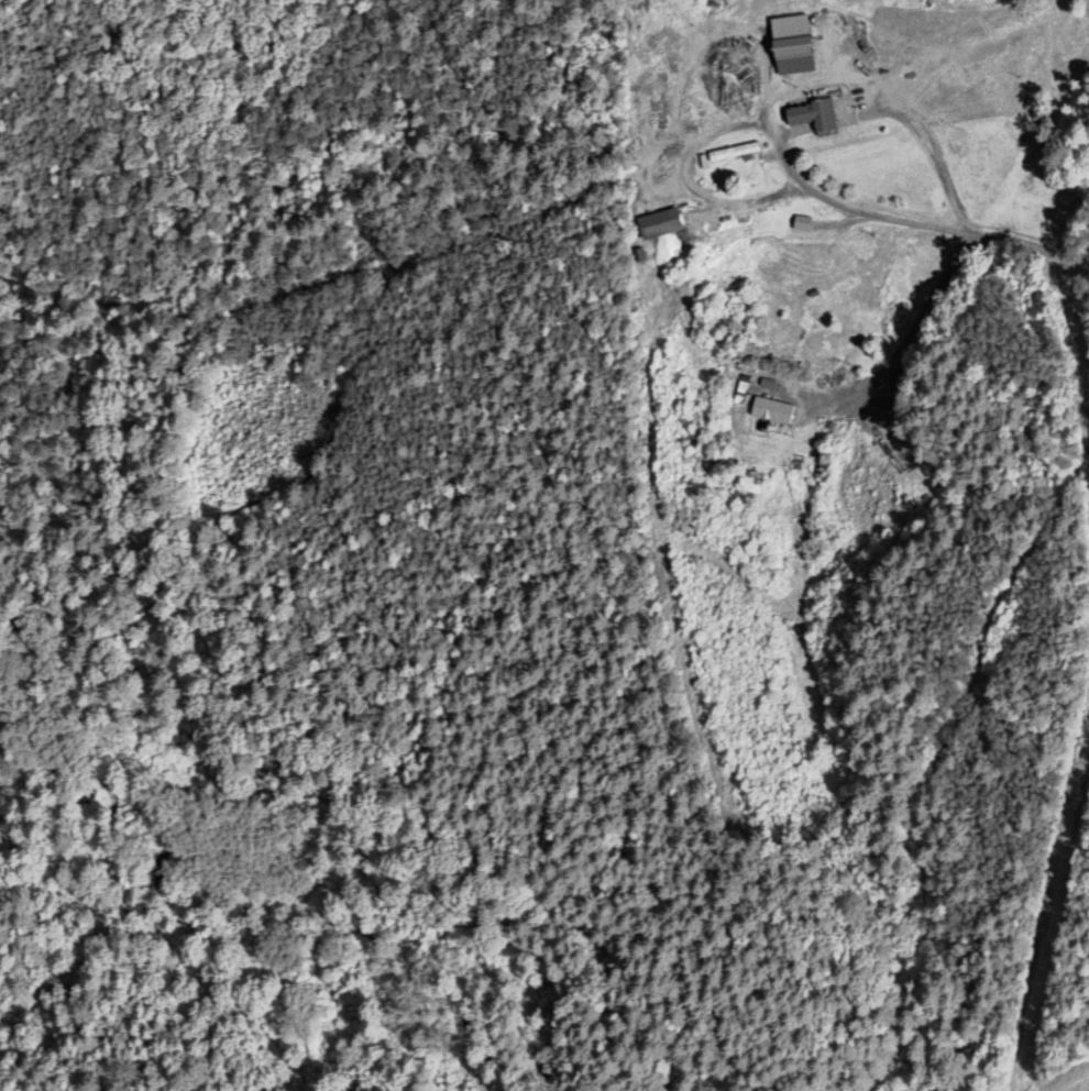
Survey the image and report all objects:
building: (790, 56)
road: (770, 101)
building: (810, 115)
road: (935, 148)
building: (729, 153)
road: (683, 176)
road: (849, 220)
building: (658, 224)
road: (921, 224)
road: (902, 349)
building: (737, 394)
building: (770, 411)

